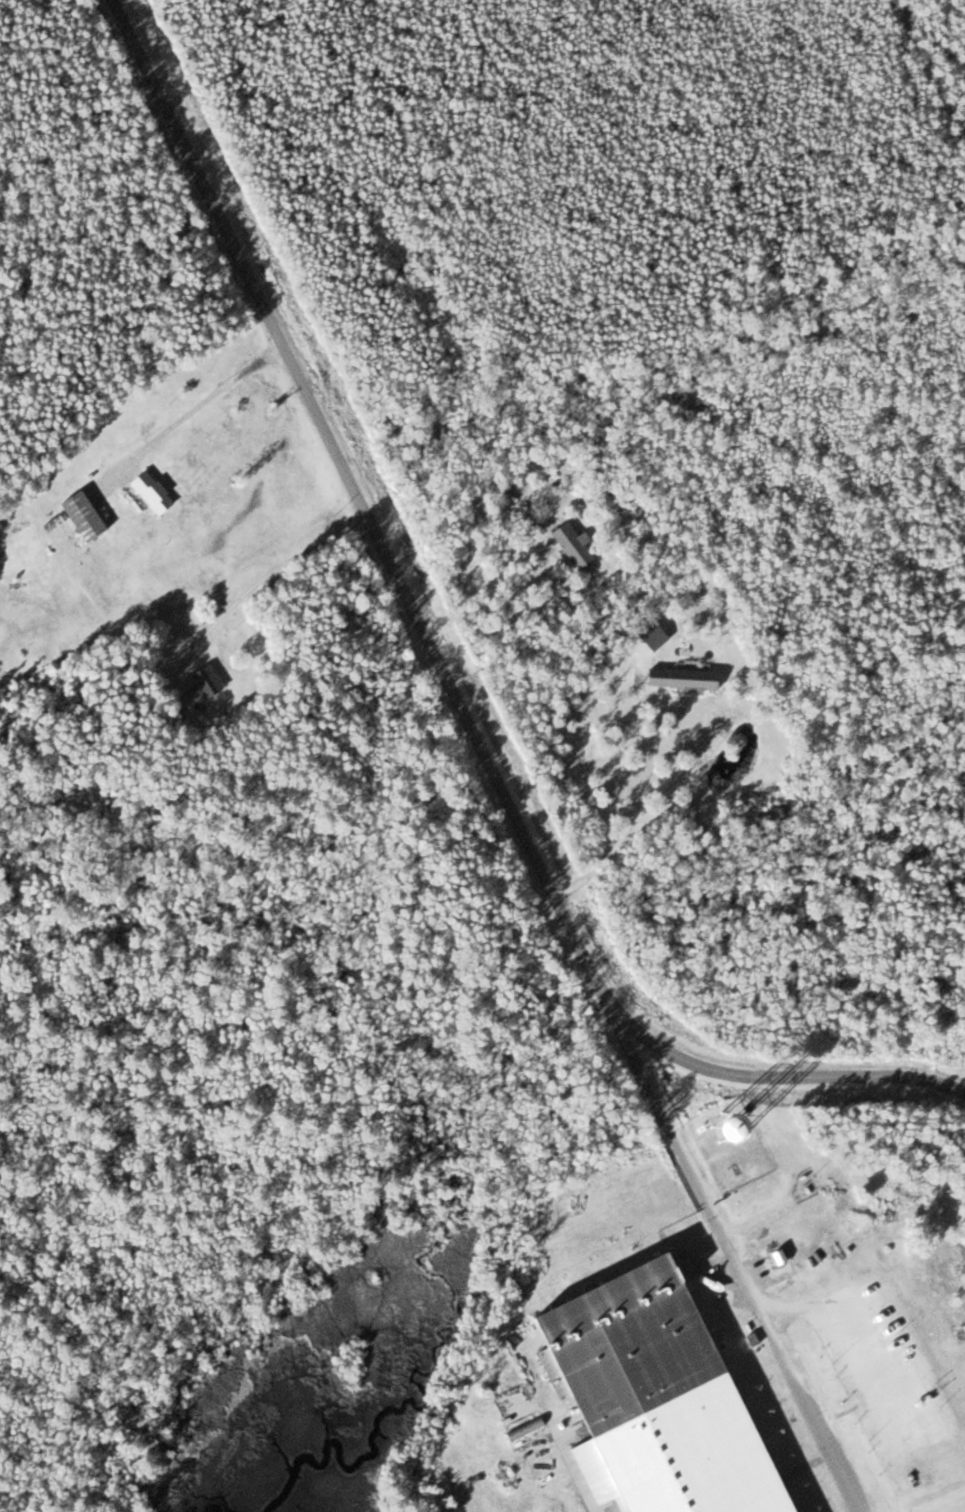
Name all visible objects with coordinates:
building: (147, 491)
building: (76, 516)
building: (569, 546)
building: (649, 635)
road: (443, 671)
building: (679, 679)
building: (203, 680)
water tower: (728, 1130)
road: (729, 1256)
road: (877, 1329)
road: (867, 1378)
parking lot: (862, 1393)
building: (651, 1396)

